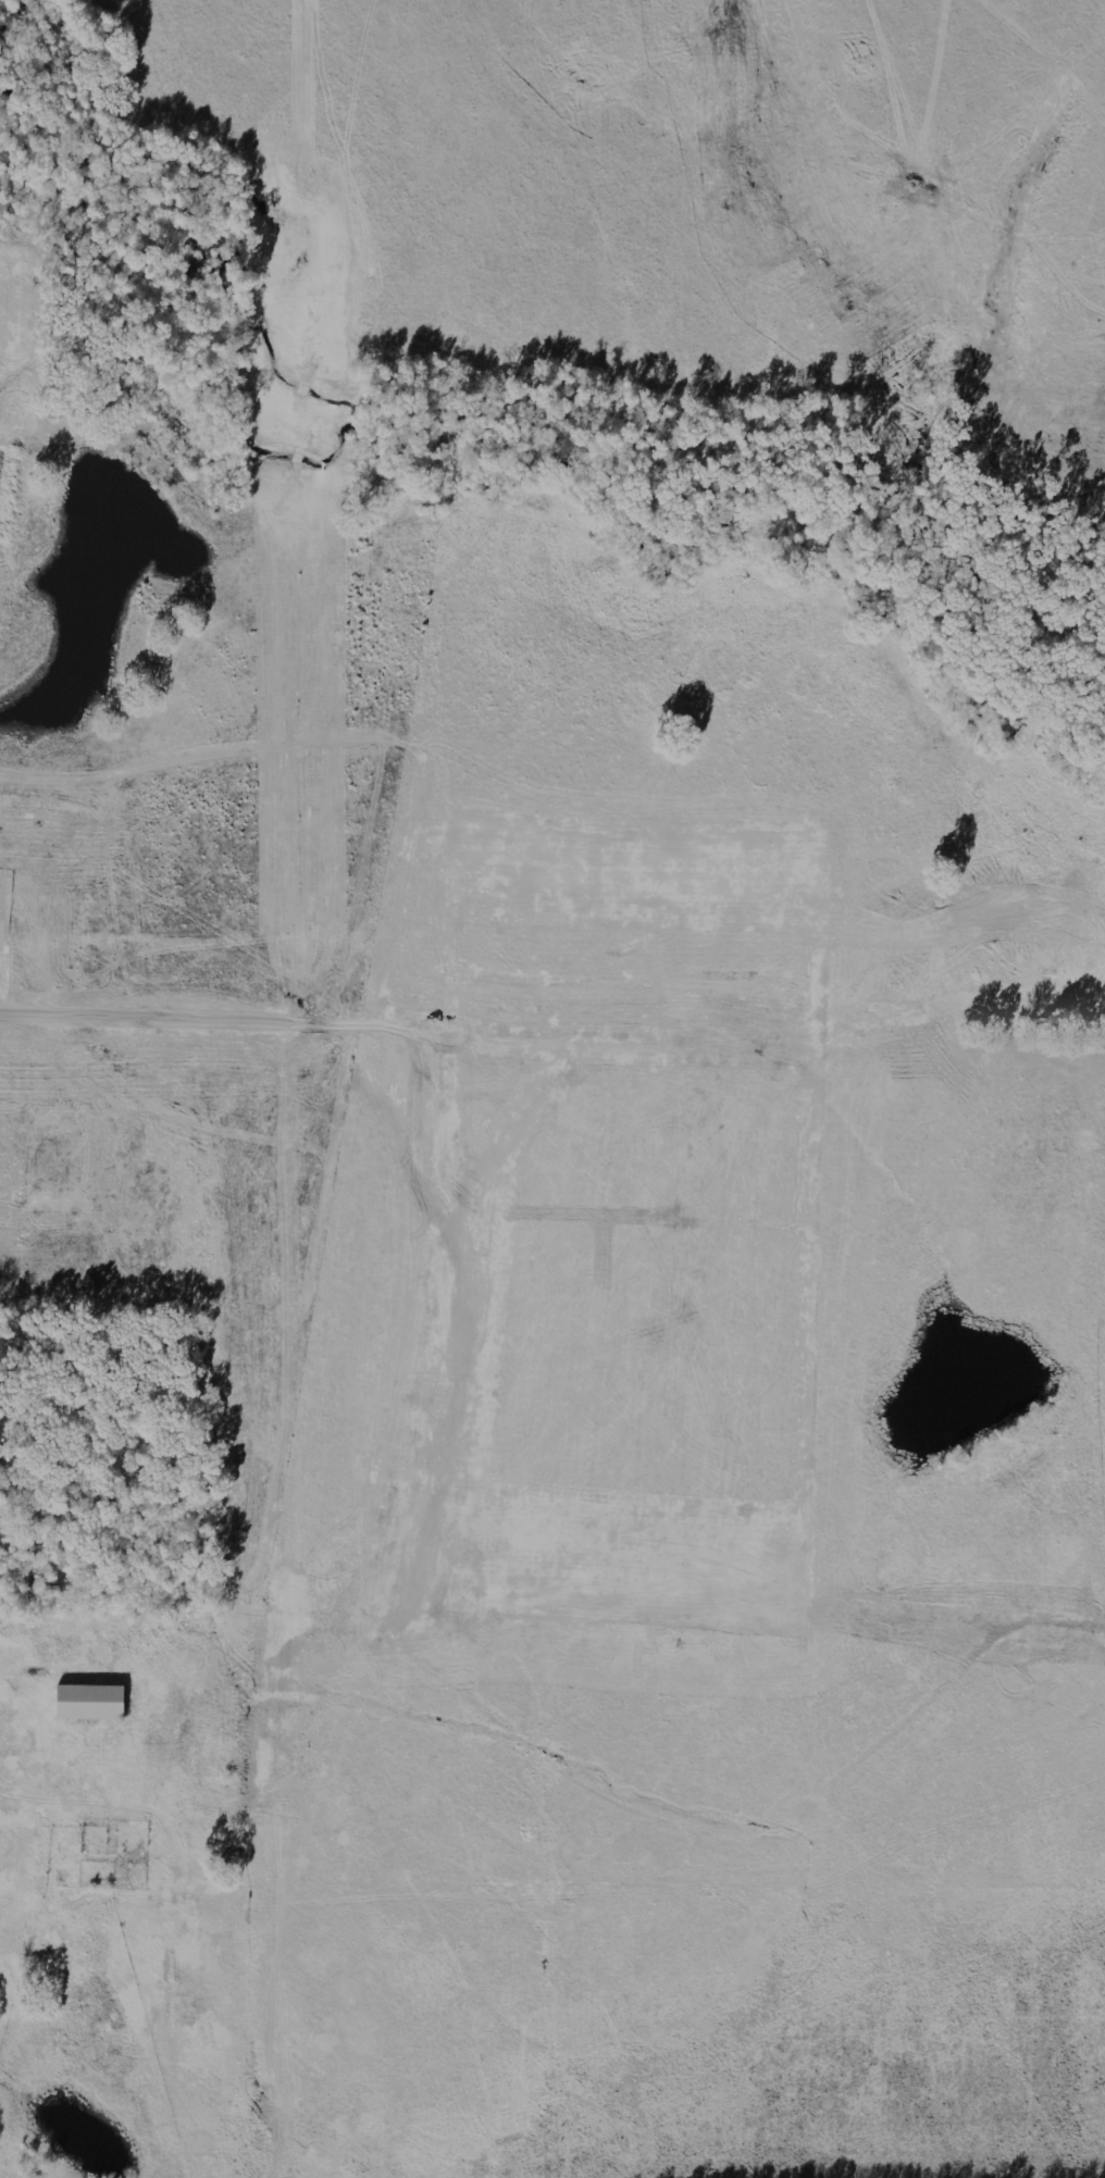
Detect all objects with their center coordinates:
building: (91, 1703)

